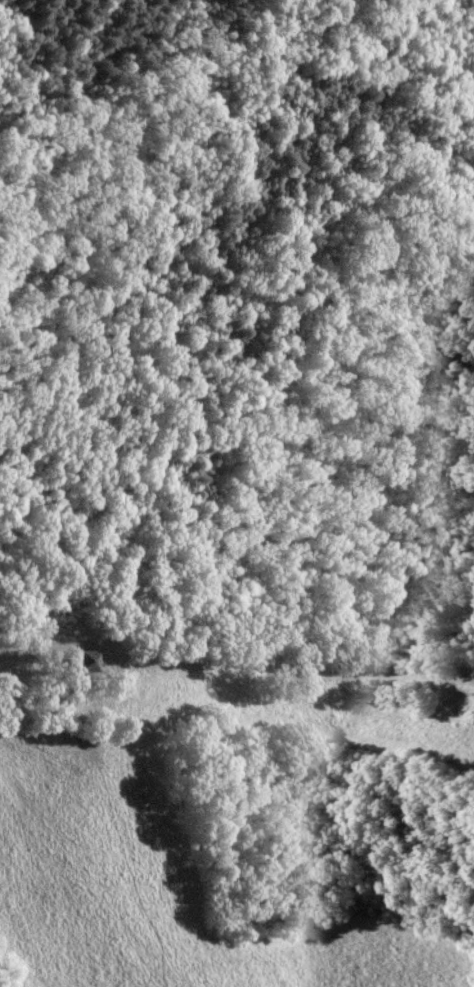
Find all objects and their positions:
road: (38, 629)

